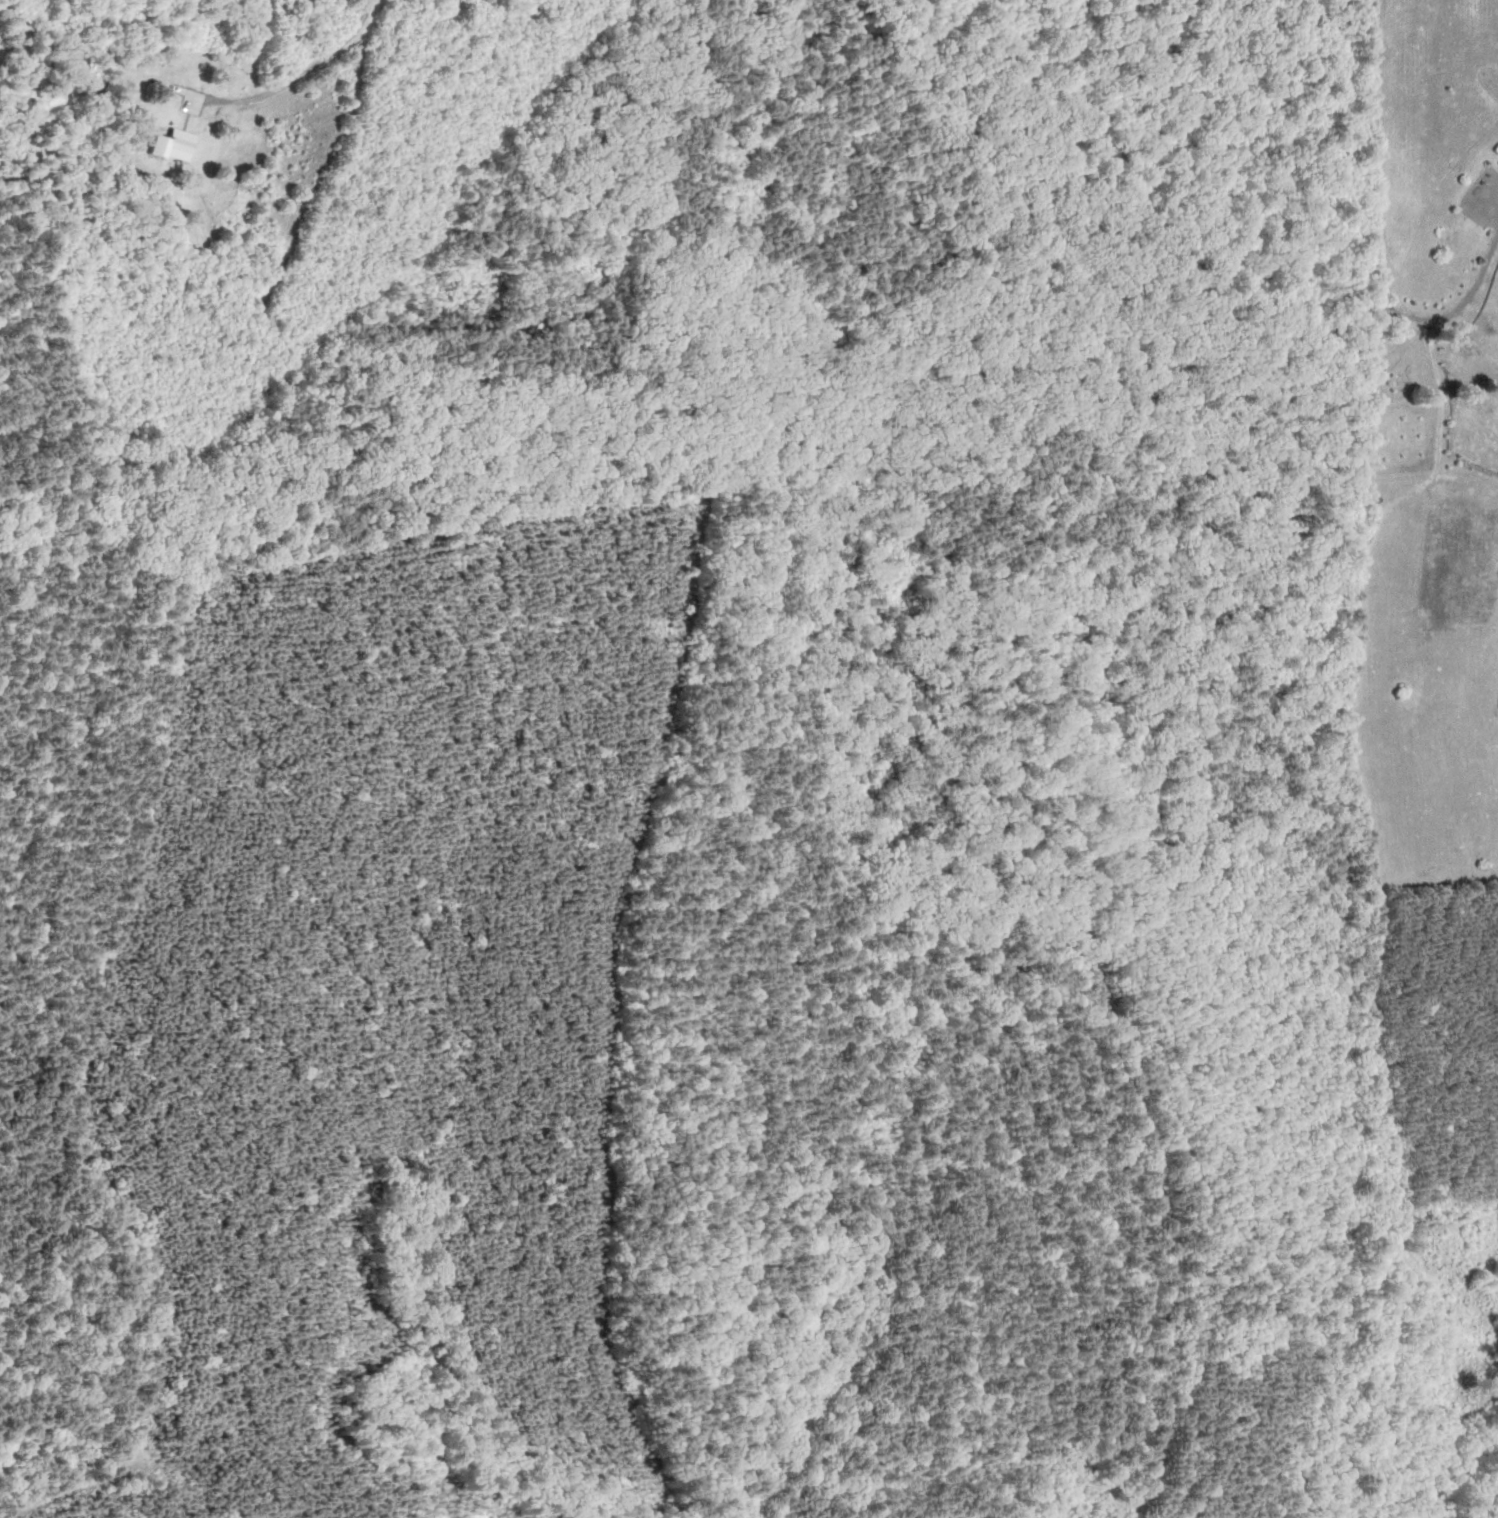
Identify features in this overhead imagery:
road: (293, 77)
building: (180, 146)
building: (113, 153)
road: (1214, 358)
road: (1014, 733)

